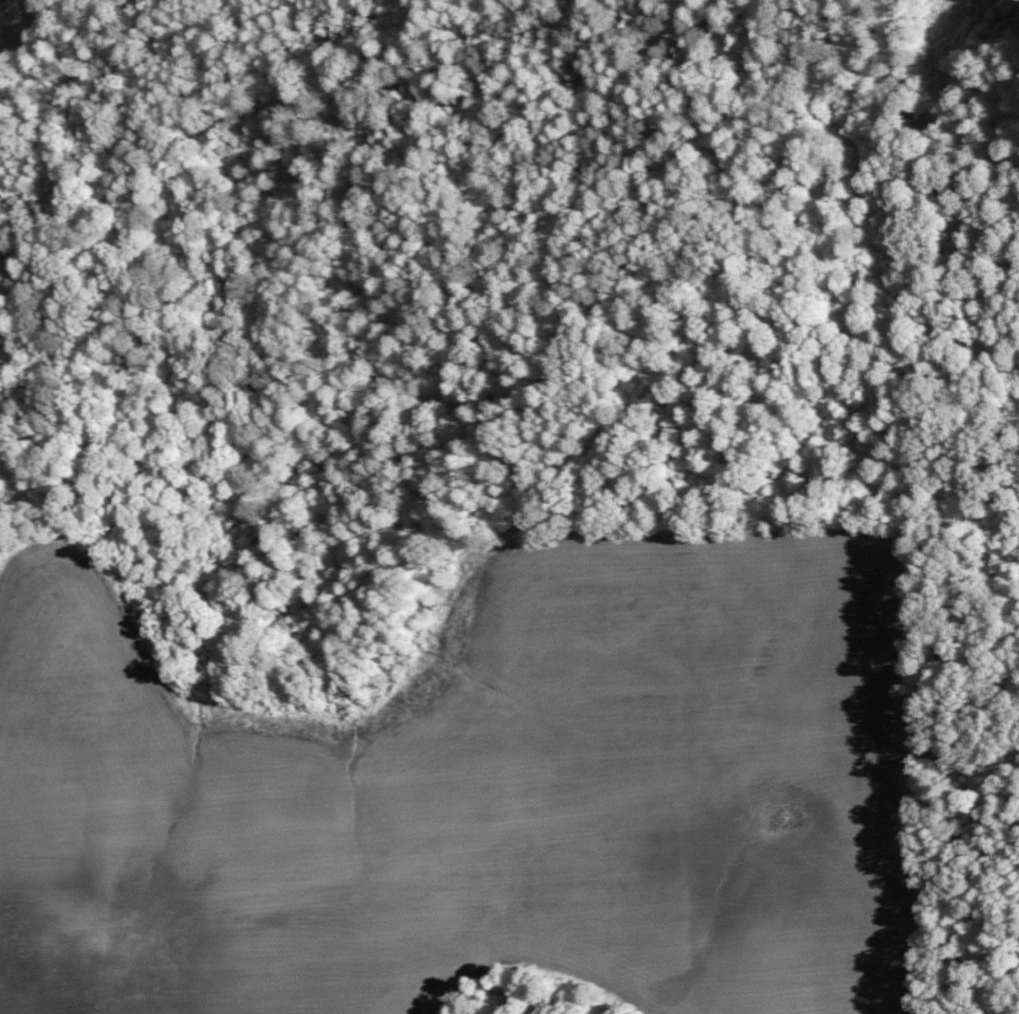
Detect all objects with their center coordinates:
road: (729, 7)

